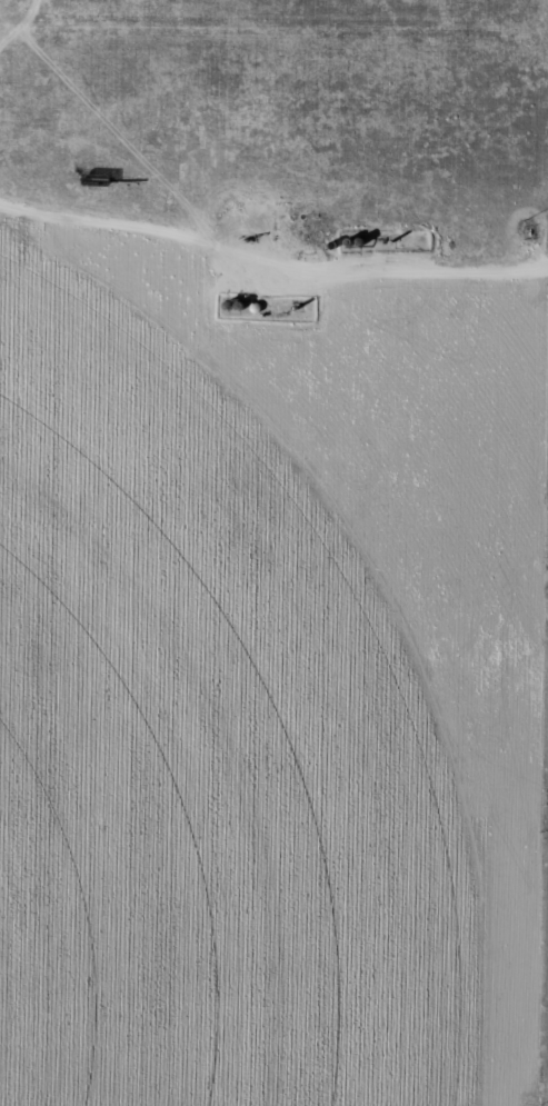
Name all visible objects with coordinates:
road: (398, 137)

